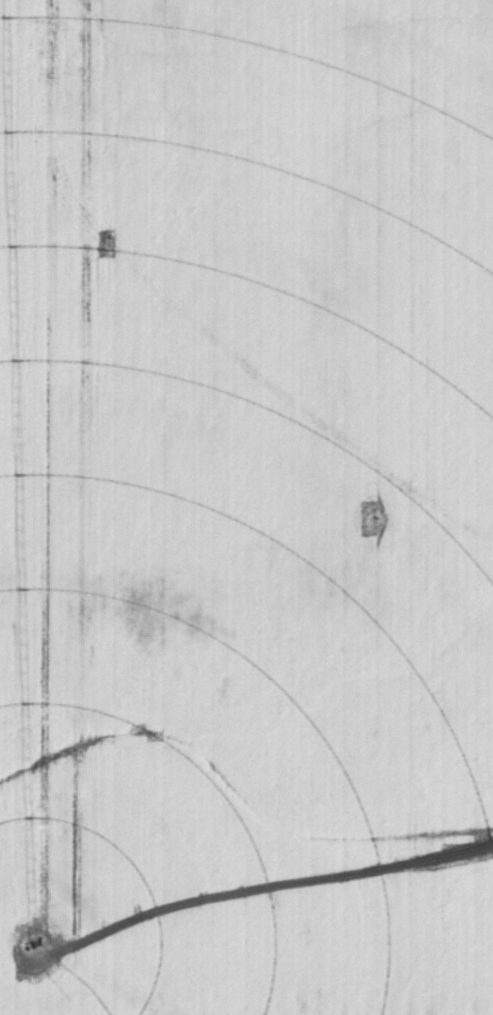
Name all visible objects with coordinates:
road: (272, 542)

